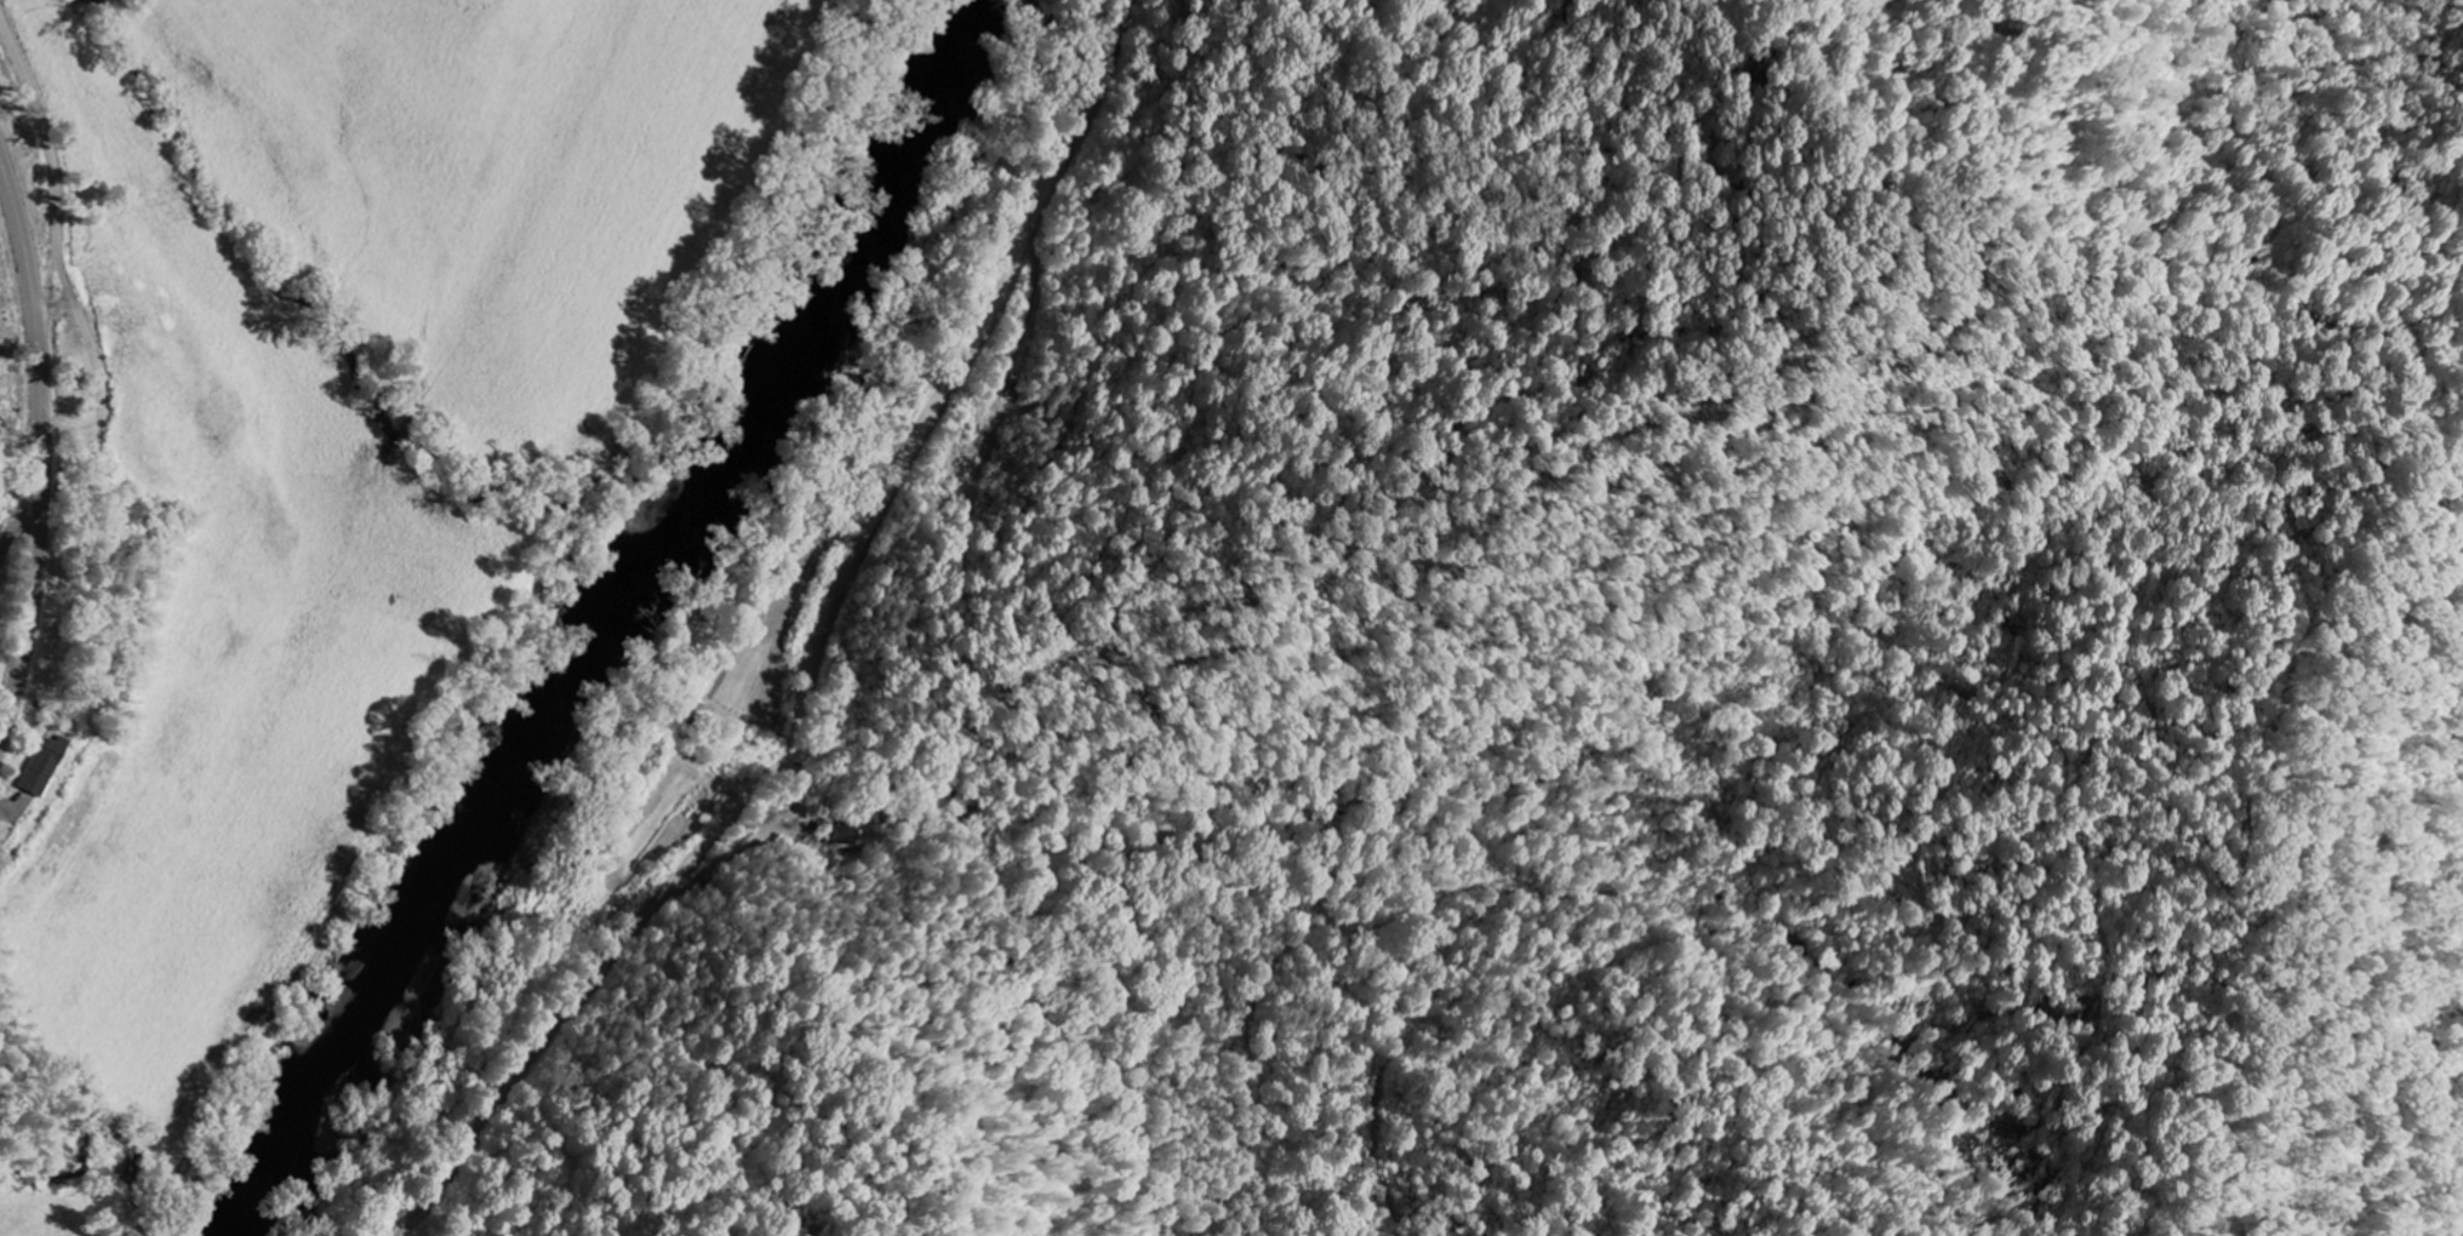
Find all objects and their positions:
road: (56, 158)
road: (44, 446)
river: (615, 624)
road: (817, 652)
building: (39, 766)

